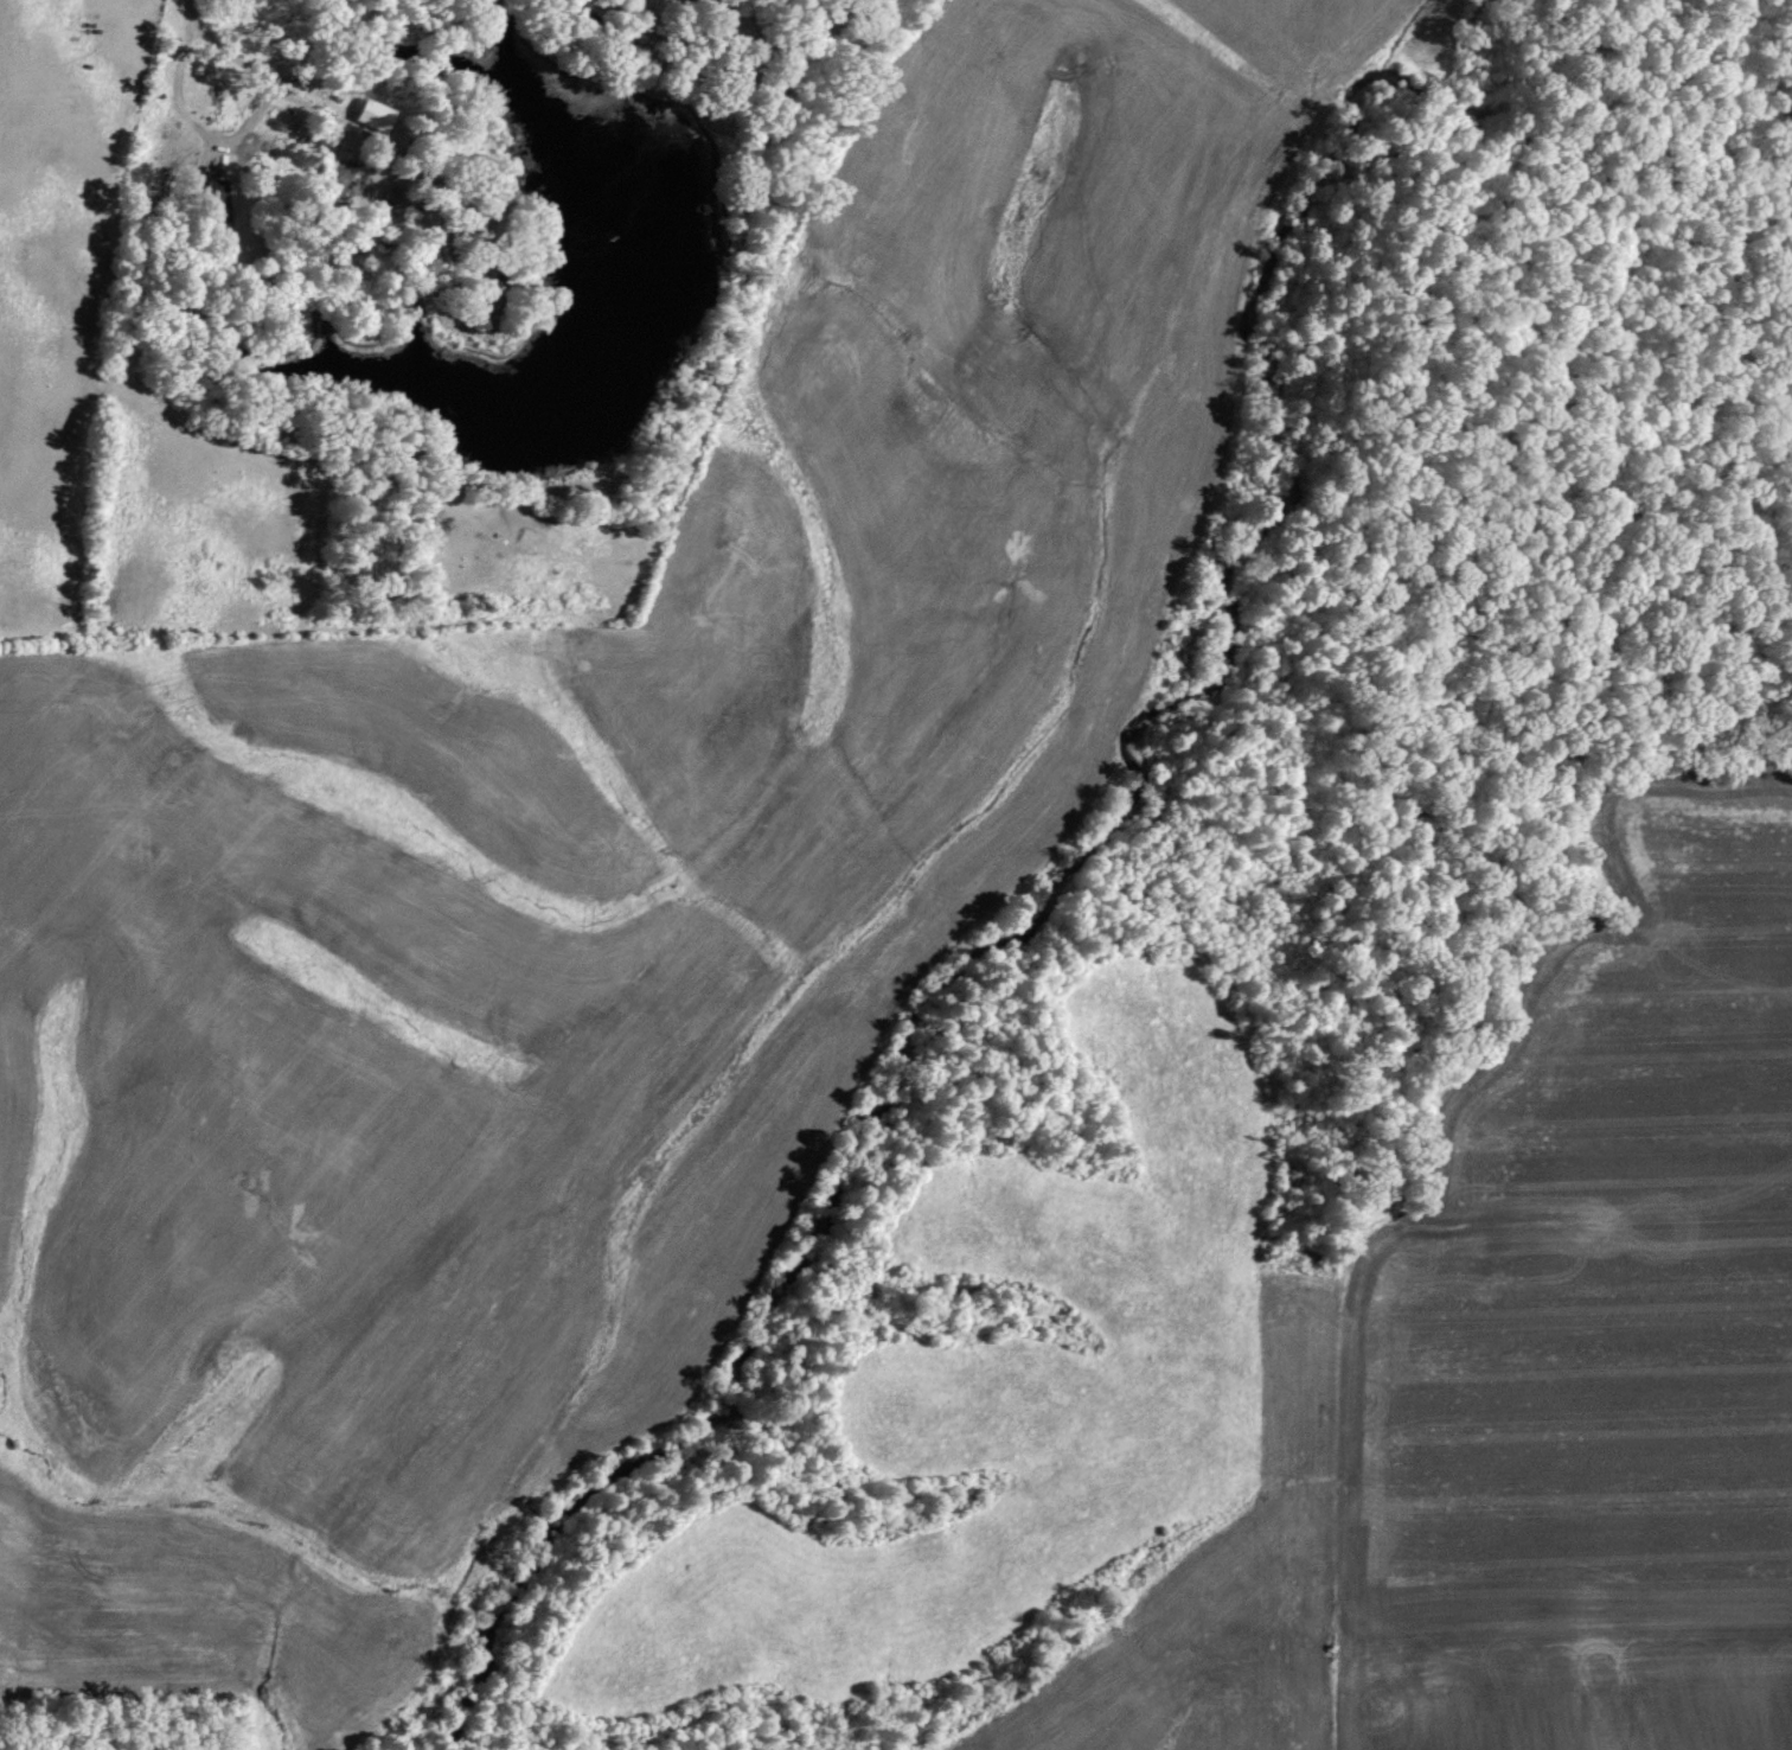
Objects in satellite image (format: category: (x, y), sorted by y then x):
road: (311, 104)
road: (190, 115)
building: (213, 206)
road: (473, 248)

